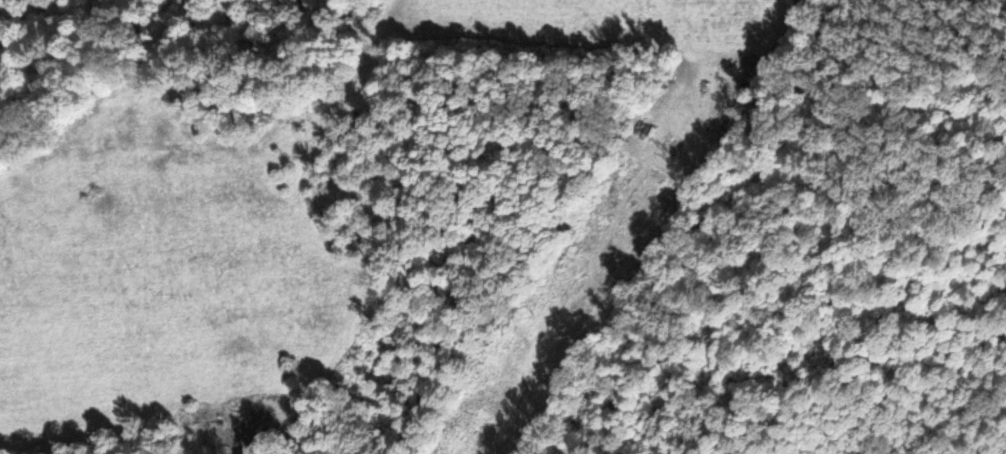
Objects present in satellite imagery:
power tower: (668, 155)

